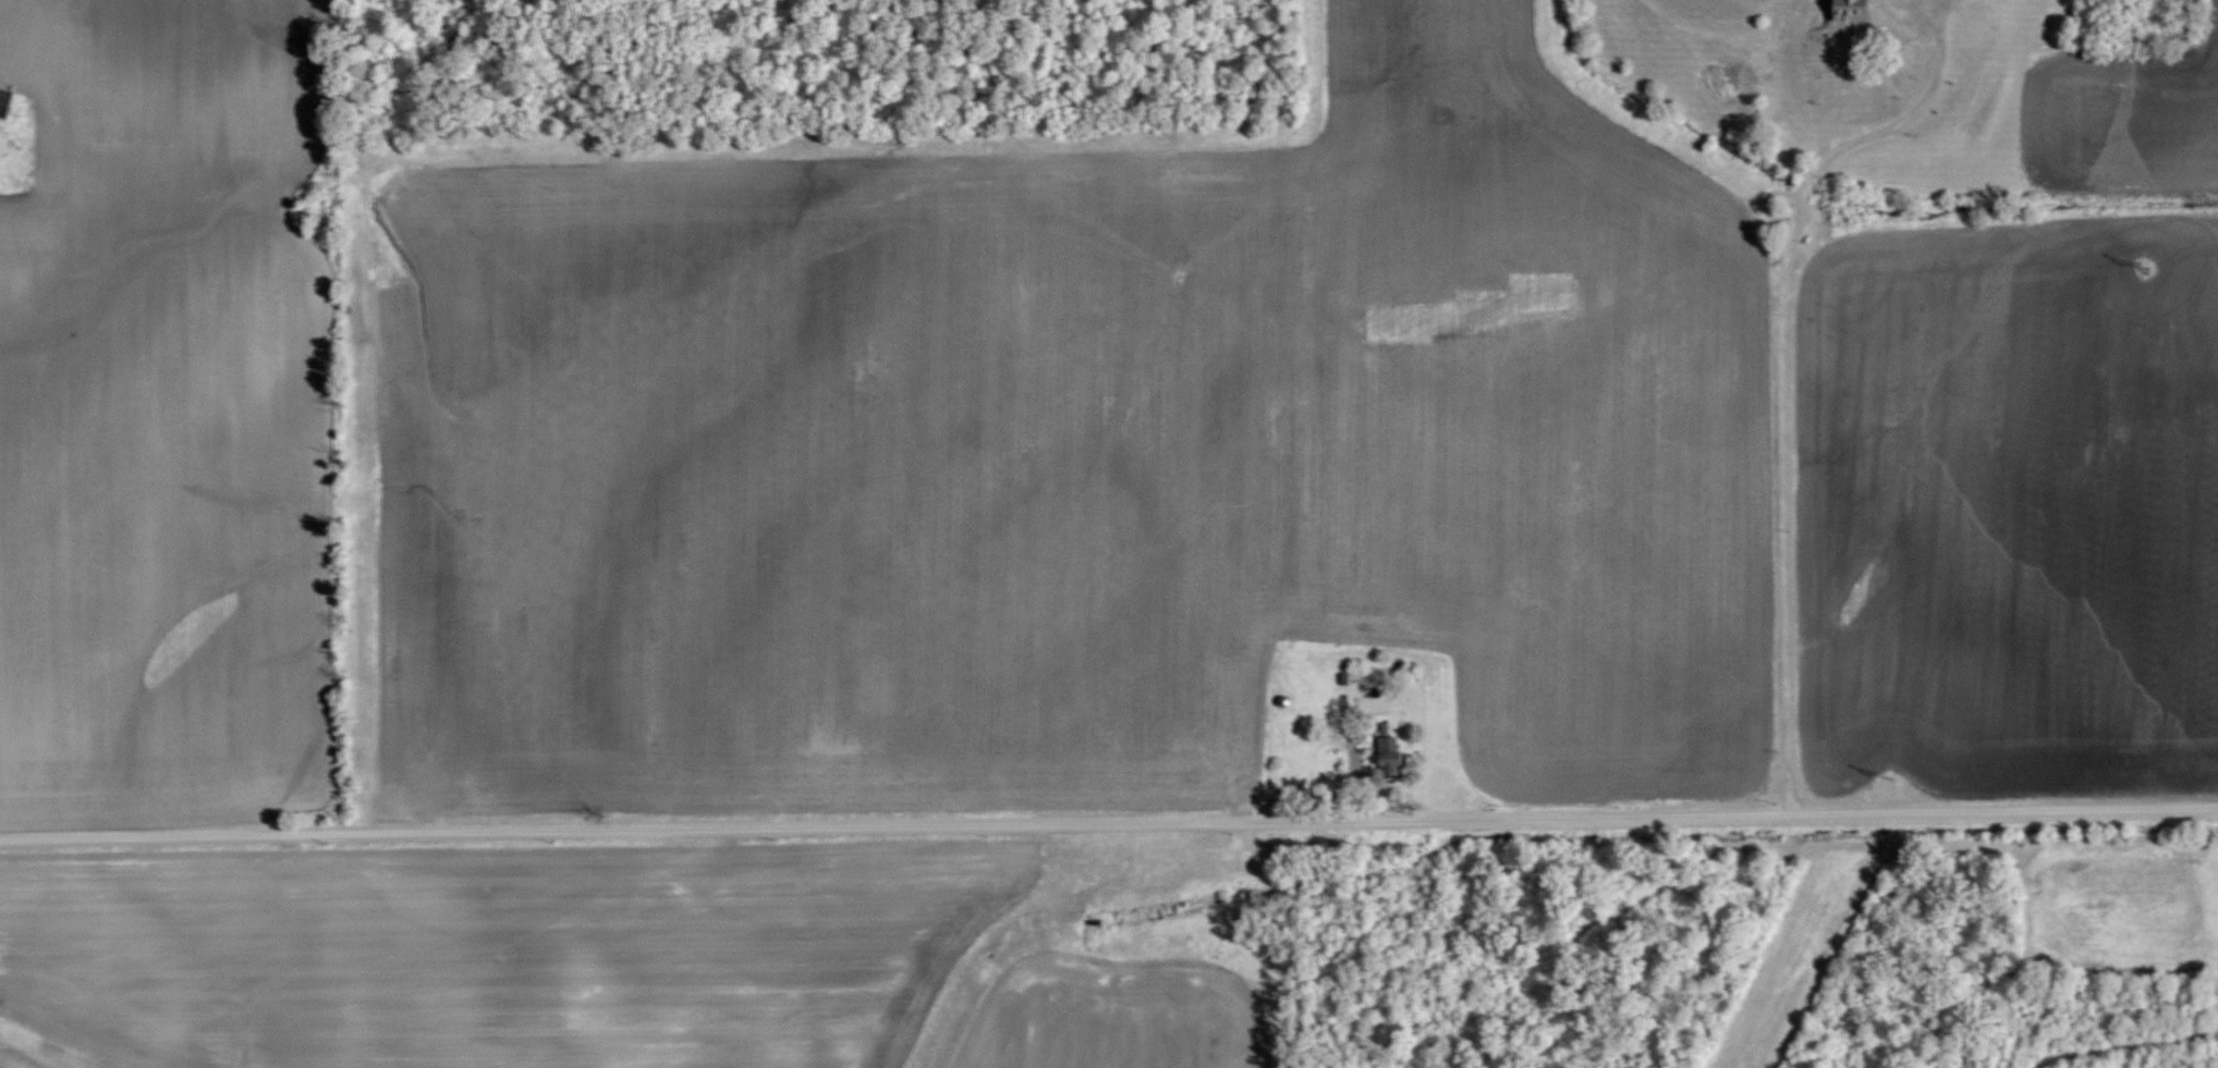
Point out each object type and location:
building: (1912, 53)
building: (5, 99)
power tower: (2153, 269)
road: (1781, 369)
building: (1385, 727)
building: (1391, 753)
power tower: (1900, 774)
road: (1109, 820)
road: (2123, 1045)

